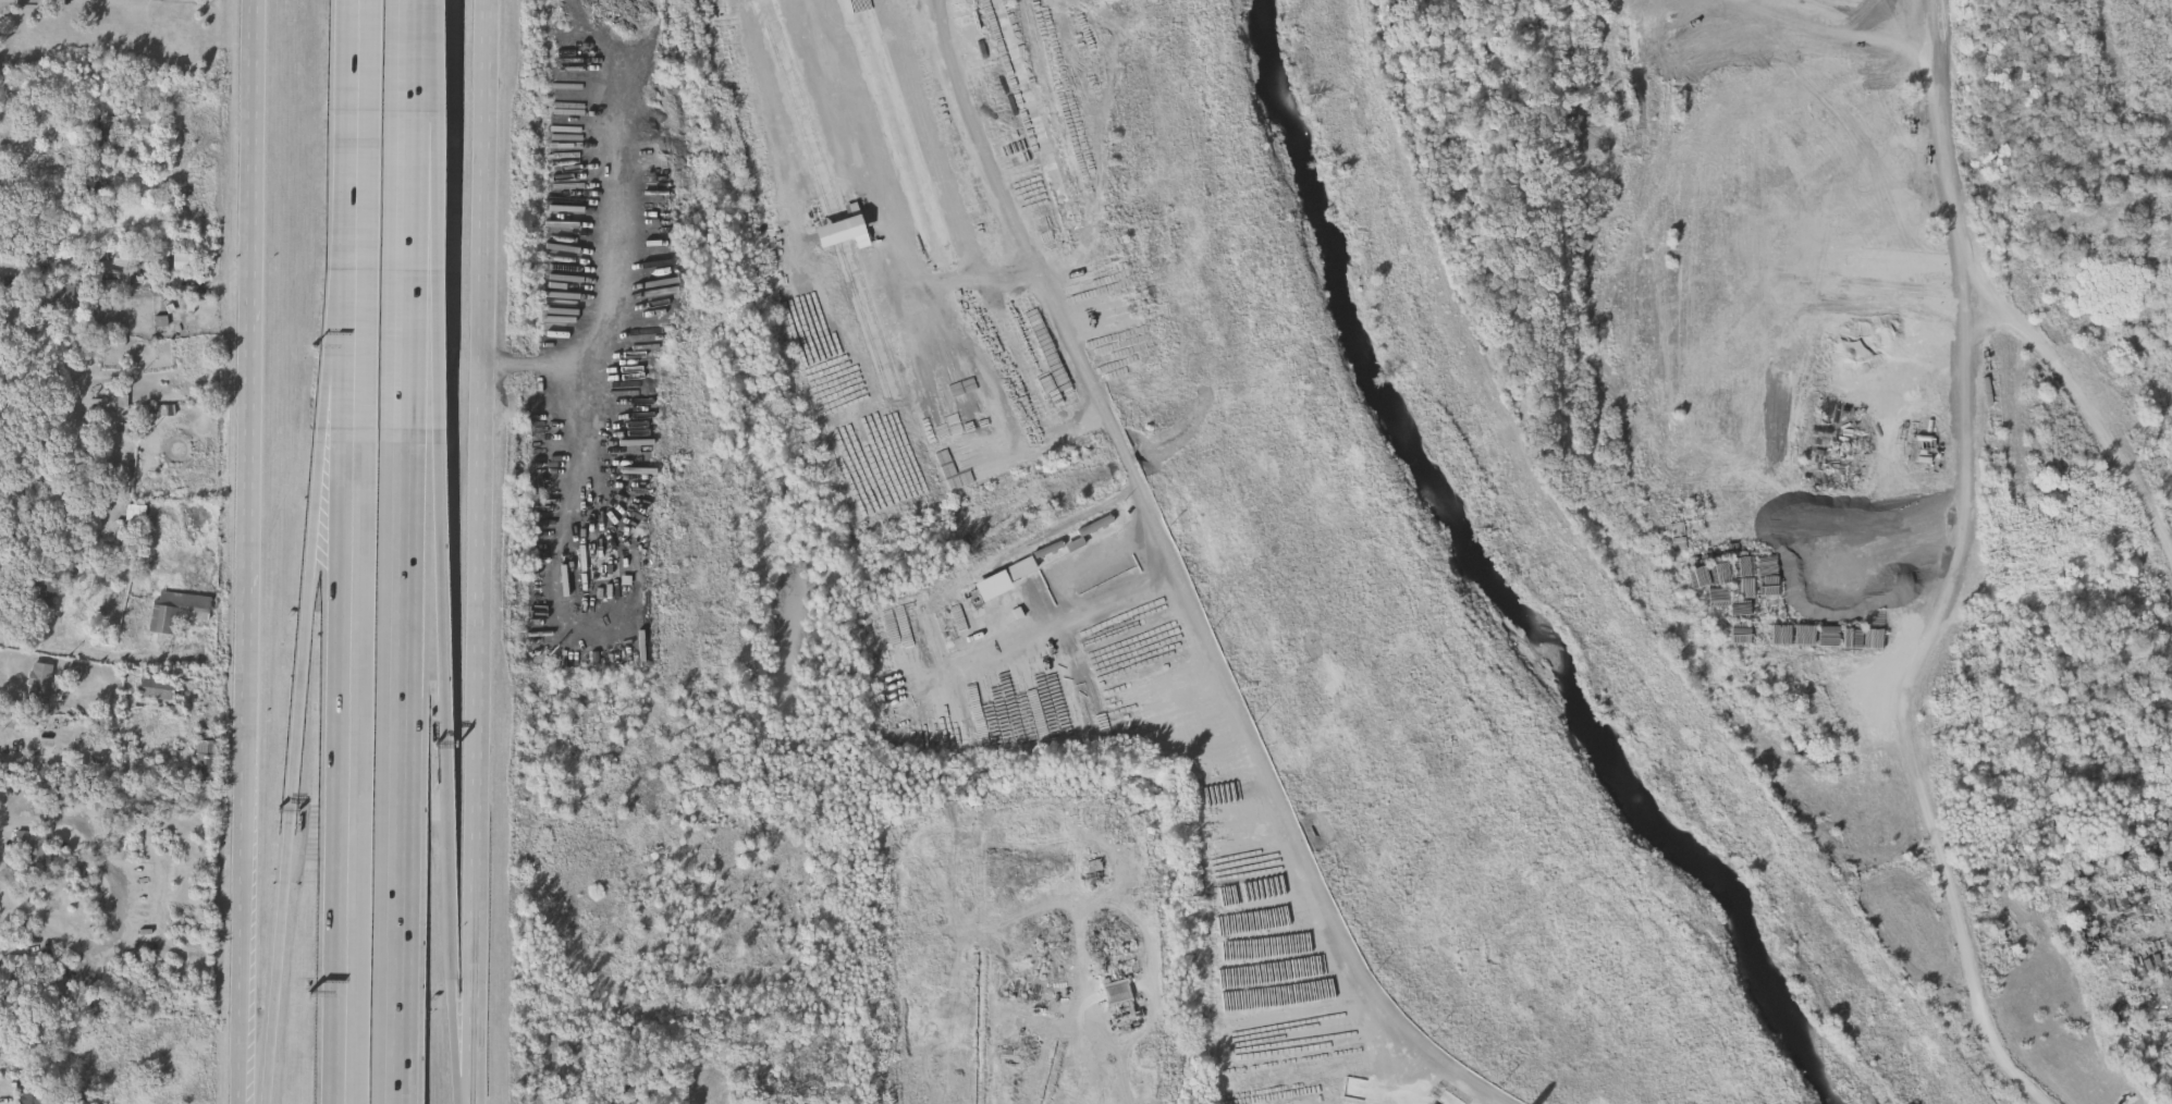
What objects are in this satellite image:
road: (418, 29)
building: (145, 105)
building: (103, 132)
road: (942, 136)
road: (358, 138)
road: (253, 145)
building: (143, 164)
building: (97, 184)
road: (901, 194)
building: (832, 208)
road: (439, 243)
road: (414, 244)
building: (183, 260)
road: (622, 309)
road: (340, 353)
road: (356, 353)
building: (114, 398)
road: (593, 428)
road: (249, 471)
building: (1070, 541)
road: (480, 552)
road: (1180, 581)
road: (1953, 585)
building: (46, 589)
road: (1069, 598)
building: (175, 610)
road: (88, 658)
building: (39, 688)
building: (156, 688)
building: (206, 755)
road: (295, 766)
road: (352, 766)
road: (405, 766)
road: (445, 766)
building: (65, 796)
building: (34, 848)
road: (245, 879)
road: (1084, 1044)
building: (35, 1097)
building: (688, 1101)

